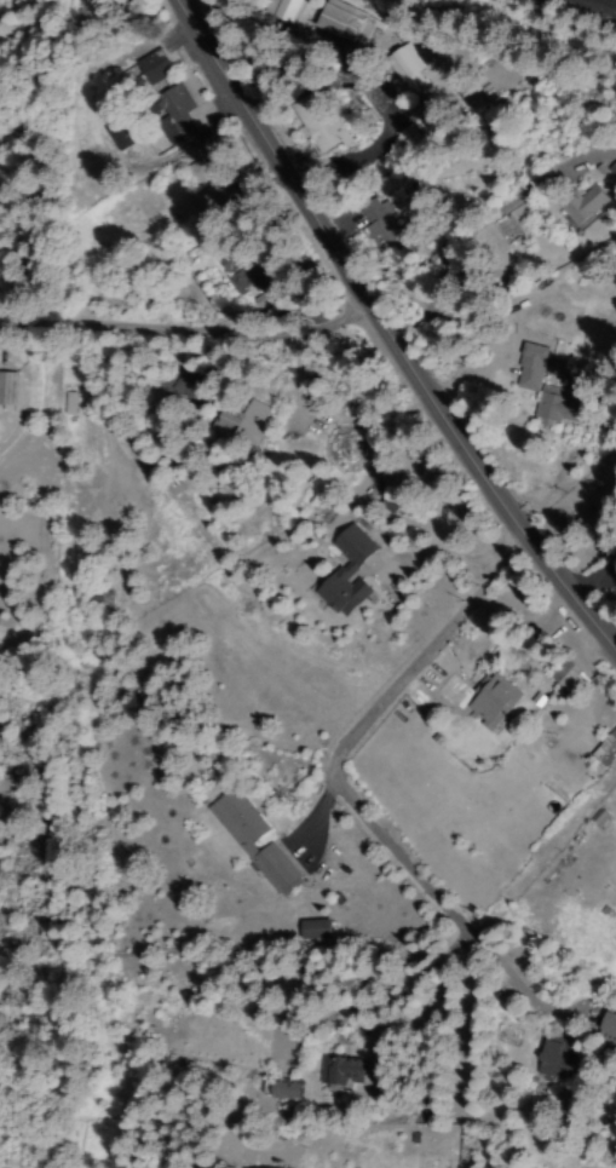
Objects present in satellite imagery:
railway: (605, 2)
building: (283, 10)
building: (345, 24)
building: (405, 64)
building: (152, 67)
building: (172, 113)
building: (317, 127)
building: (119, 134)
building: (202, 202)
building: (580, 205)
building: (380, 225)
road: (391, 327)
road: (198, 328)
building: (530, 367)
building: (6, 391)
building: (558, 405)
building: (242, 422)
building: (346, 573)
building: (568, 678)
building: (491, 701)
building: (606, 749)
road: (346, 772)
building: (599, 818)
building: (252, 839)
building: (313, 930)
building: (608, 1024)
road: (457, 1034)
building: (554, 1063)
building: (334, 1071)
building: (283, 1089)

